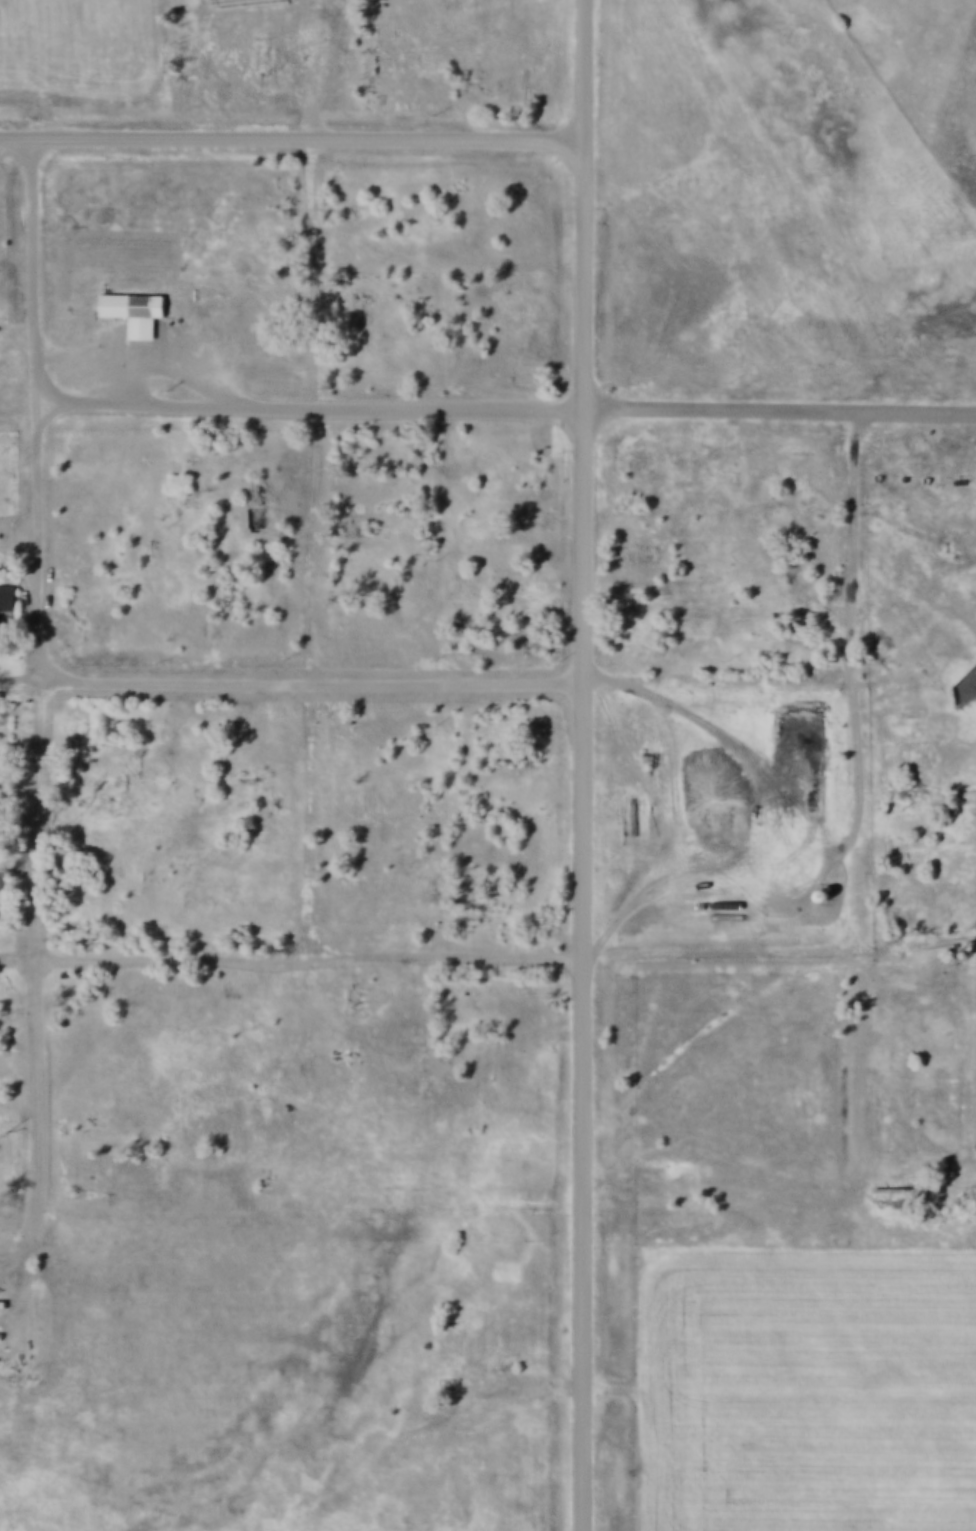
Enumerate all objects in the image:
road: (296, 133)
road: (319, 268)
building: (135, 308)
road: (157, 353)
road: (319, 402)
road: (46, 403)
road: (783, 406)
road: (591, 475)
road: (319, 541)
building: (7, 595)
building: (0, 624)
road: (726, 675)
road: (318, 680)
building: (350, 716)
building: (691, 746)
road: (45, 815)
road: (318, 817)
building: (823, 892)
silo: (823, 892)
road: (865, 939)
road: (729, 948)
road: (317, 955)
road: (47, 1120)
building: (893, 1188)
road: (592, 1241)
building: (3, 1300)
building: (2, 1331)

